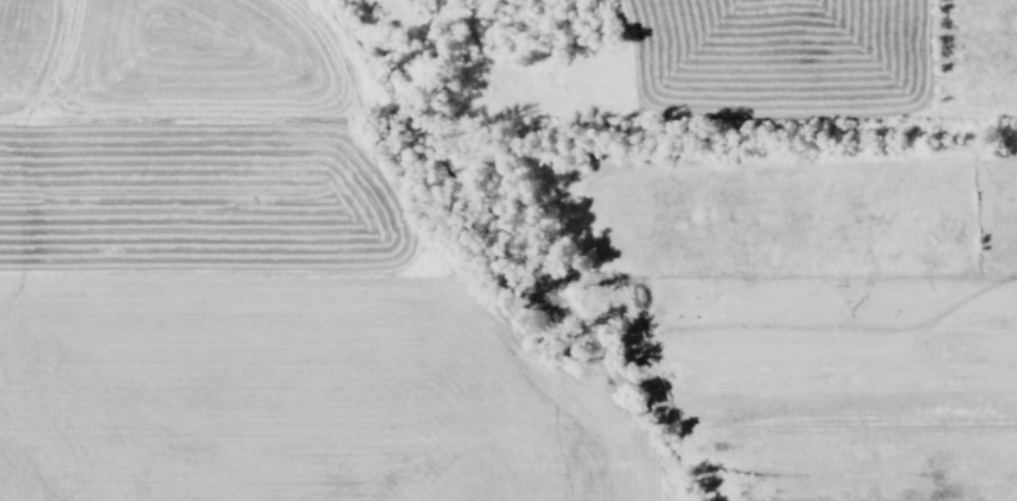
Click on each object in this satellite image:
crop: (263, 290)

